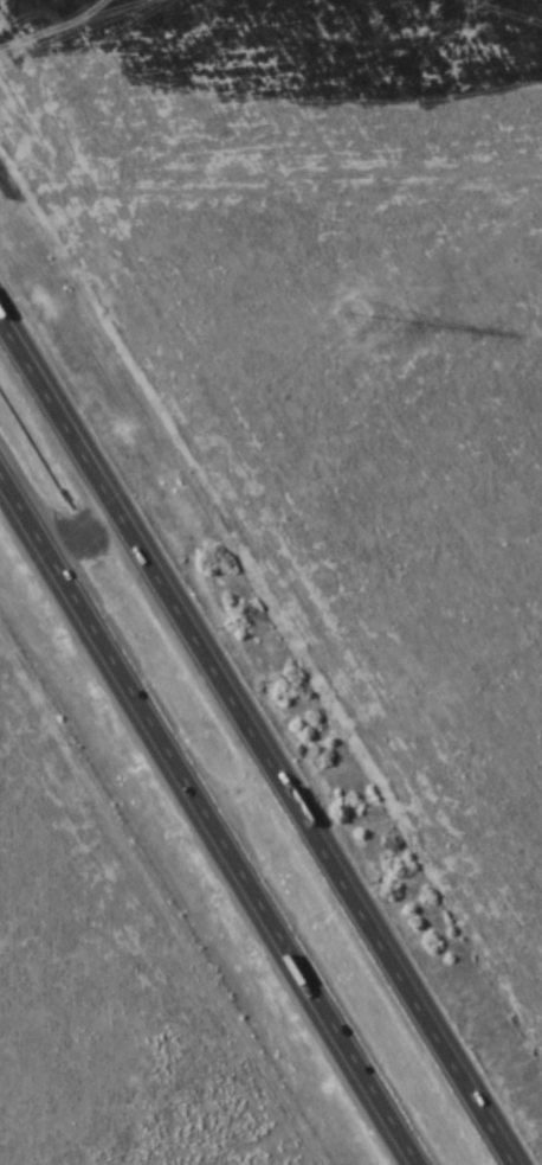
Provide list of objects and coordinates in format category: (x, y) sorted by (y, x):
power tower: (350, 314)
road: (257, 740)
road: (213, 812)

